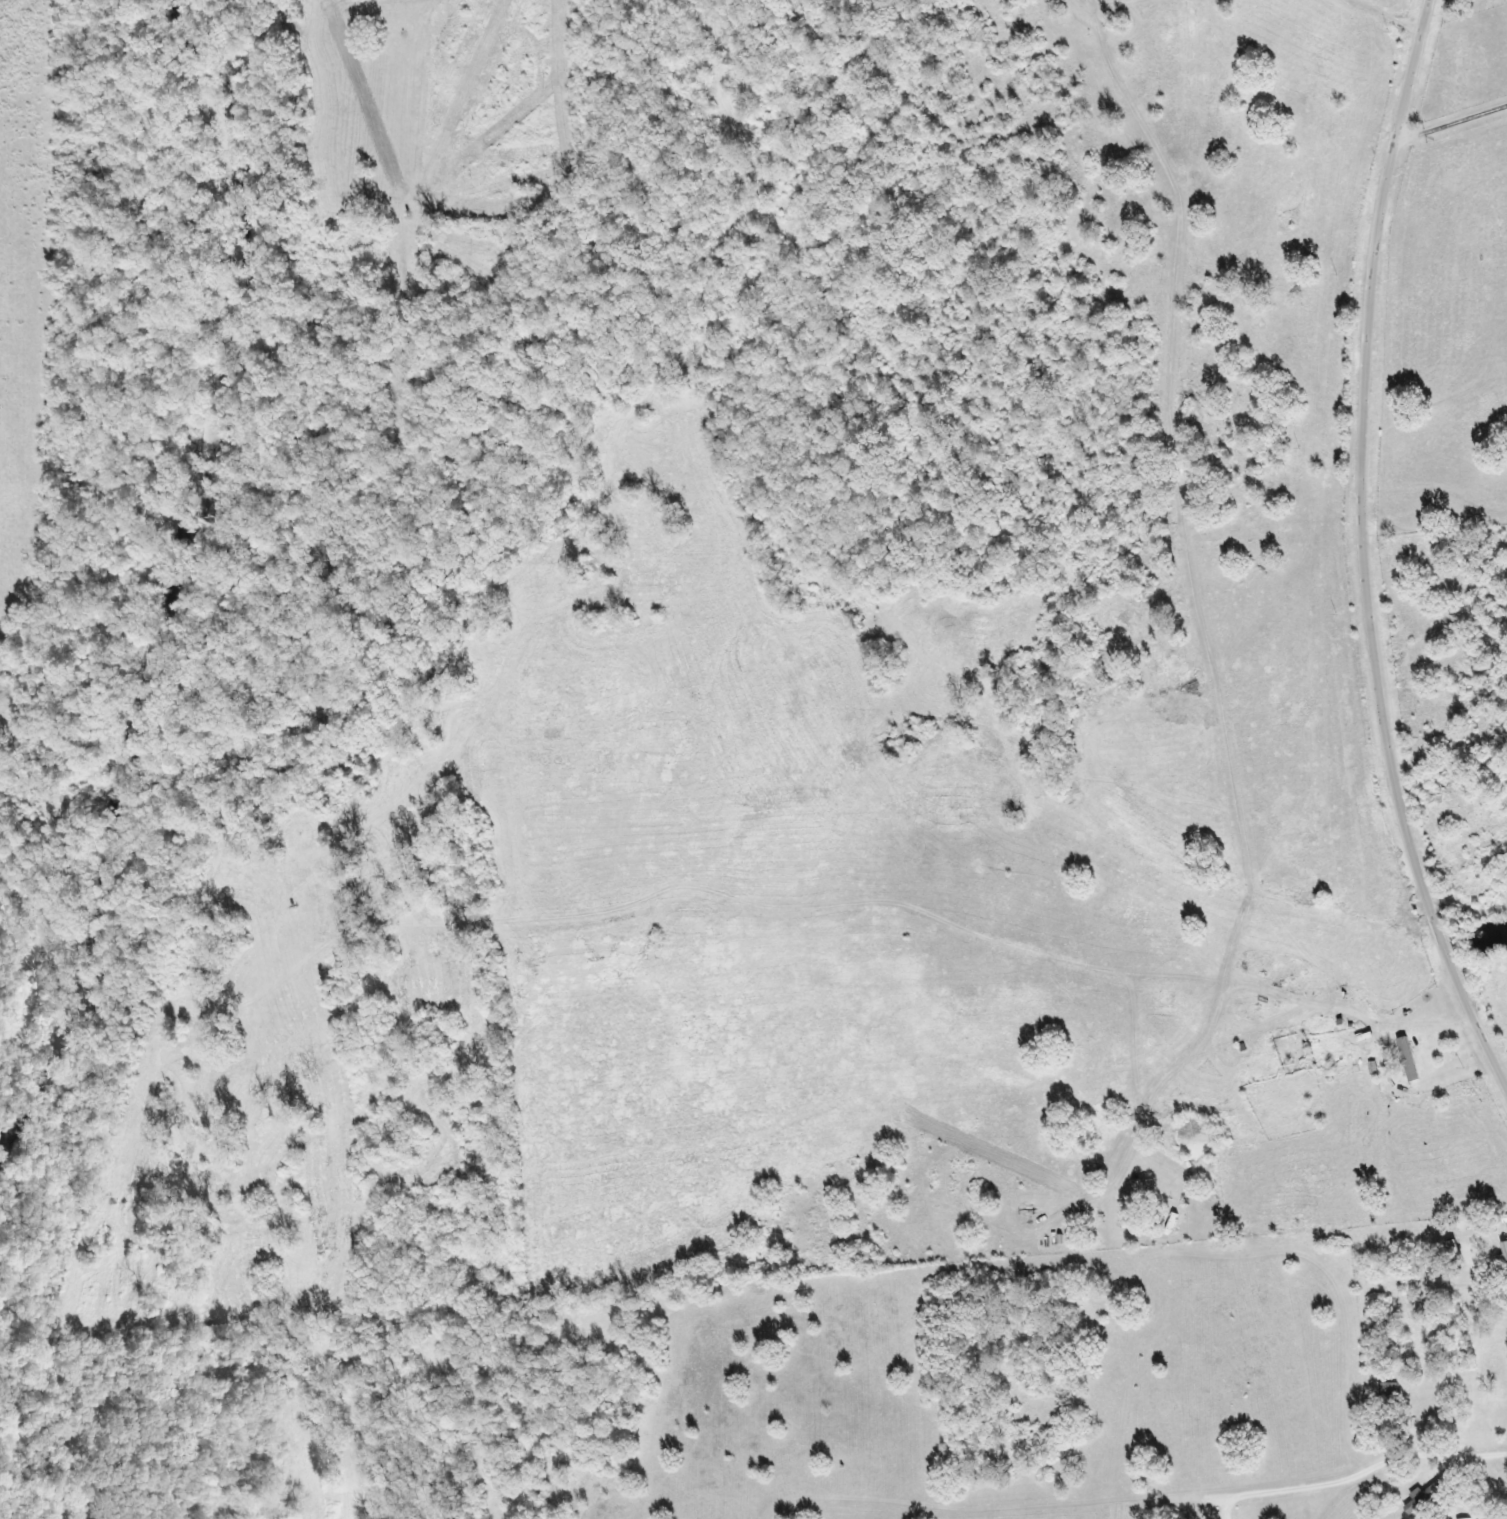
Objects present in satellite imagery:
road: (1369, 545)
building: (1403, 1058)
building: (1502, 1249)
building: (1382, 1393)
building: (1425, 1493)
building: (1459, 1518)

